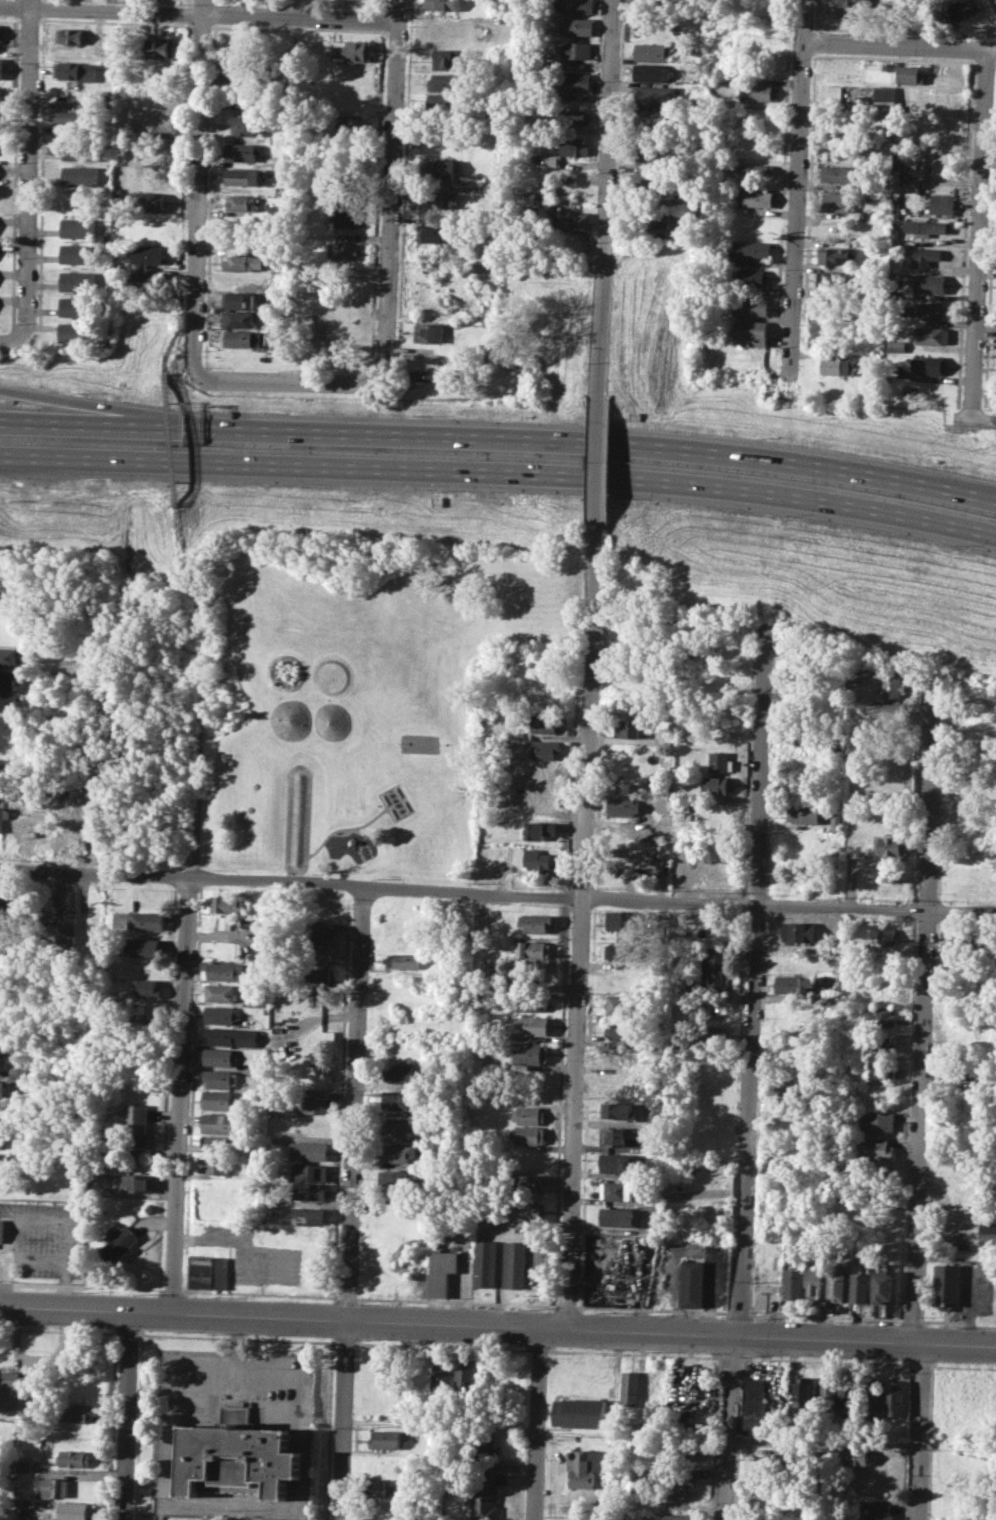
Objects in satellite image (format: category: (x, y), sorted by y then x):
building: (854, 3)
building: (441, 4)
building: (580, 6)
building: (964, 9)
road: (198, 13)
building: (577, 27)
building: (0, 29)
building: (72, 35)
road: (896, 46)
building: (160, 47)
building: (353, 50)
building: (578, 50)
road: (992, 50)
building: (651, 52)
building: (450, 58)
building: (2, 67)
building: (78, 70)
building: (652, 73)
building: (911, 74)
building: (446, 81)
building: (575, 81)
building: (764, 92)
building: (655, 96)
building: (944, 100)
building: (445, 103)
building: (885, 108)
building: (69, 115)
building: (573, 117)
building: (653, 119)
building: (161, 120)
building: (248, 125)
building: (353, 127)
building: (939, 127)
building: (279, 138)
building: (572, 146)
building: (81, 151)
building: (243, 151)
building: (653, 154)
building: (551, 160)
building: (441, 168)
road: (28, 169)
building: (755, 169)
building: (838, 173)
building: (80, 174)
building: (243, 176)
building: (650, 181)
building: (491, 185)
road: (198, 188)
road: (798, 193)
road: (390, 194)
building: (756, 196)
building: (150, 199)
building: (439, 199)
road: (607, 199)
building: (836, 201)
building: (243, 203)
building: (942, 203)
building: (895, 207)
road: (182, 217)
building: (347, 217)
building: (651, 218)
building: (571, 221)
building: (78, 227)
building: (931, 227)
building: (147, 229)
building: (438, 232)
road: (979, 235)
building: (342, 251)
building: (748, 252)
building: (78, 253)
building: (147, 255)
building: (836, 255)
building: (927, 255)
building: (244, 262)
road: (182, 270)
building: (753, 277)
building: (831, 278)
building: (145, 279)
building: (78, 280)
building: (929, 283)
building: (238, 299)
building: (78, 306)
building: (752, 306)
building: (920, 309)
building: (238, 319)
building: (78, 330)
building: (428, 333)
building: (753, 333)
building: (932, 335)
building: (240, 338)
road: (10, 339)
building: (896, 345)
road: (169, 346)
building: (834, 365)
building: (930, 365)
building: (893, 369)
building: (425, 375)
road: (285, 381)
road: (63, 403)
road: (500, 438)
road: (172, 443)
road: (598, 467)
road: (499, 473)
building: (9, 633)
road: (195, 644)
building: (9, 657)
building: (8, 680)
building: (895, 687)
building: (548, 698)
park: (362, 700)
building: (8, 702)
building: (888, 713)
building: (974, 716)
building: (546, 723)
building: (8, 724)
building: (633, 727)
building: (803, 734)
park: (419, 743)
building: (545, 749)
building: (722, 761)
building: (9, 771)
building: (720, 784)
building: (7, 805)
building: (624, 807)
building: (807, 813)
building: (968, 827)
building: (539, 830)
building: (890, 846)
building: (970, 847)
building: (536, 859)
road: (497, 893)
building: (8, 896)
building: (226, 904)
building: (480, 918)
building: (5, 919)
building: (145, 920)
building: (623, 920)
building: (225, 922)
building: (533, 922)
building: (248, 923)
building: (66, 925)
building: (90, 925)
building: (320, 929)
road: (582, 932)
building: (799, 932)
building: (882, 935)
building: (404, 942)
building: (6, 945)
building: (142, 946)
building: (534, 949)
building: (321, 951)
building: (622, 951)
building: (260, 954)
building: (403, 960)
building: (711, 969)
building: (225, 970)
building: (316, 976)
building: (796, 984)
building: (141, 986)
building: (880, 987)
building: (221, 992)
building: (3, 994)
building: (530, 1002)
building: (622, 1003)
road: (752, 1006)
building: (794, 1012)
building: (222, 1014)
building: (880, 1016)
road: (923, 1017)
building: (534, 1025)
building: (625, 1031)
building: (714, 1033)
building: (233, 1035)
building: (1, 1040)
building: (878, 1042)
road: (185, 1043)
building: (529, 1052)
building: (625, 1055)
building: (219, 1057)
building: (0, 1062)
building: (878, 1070)
building: (954, 1070)
building: (18, 1073)
building: (404, 1074)
building: (221, 1078)
building: (2, 1087)
building: (218, 1099)
building: (399, 1099)
building: (313, 1105)
building: (618, 1109)
building: (2, 1111)
building: (529, 1114)
building: (878, 1121)
building: (220, 1123)
building: (399, 1126)
building: (138, 1128)
building: (528, 1135)
building: (615, 1137)
building: (2, 1139)
building: (220, 1144)
building: (875, 1149)
building: (309, 1151)
building: (397, 1152)
building: (3, 1161)
building: (616, 1163)
building: (218, 1164)
building: (309, 1172)
building: (394, 1179)
building: (525, 1182)
building: (140, 1183)
building: (617, 1190)
building: (309, 1192)
road: (350, 1202)
building: (524, 1211)
building: (308, 1215)
building: (618, 1217)
road: (40, 1219)
building: (2, 1229)
building: (988, 1234)
parking lot: (44, 1238)
road: (246, 1242)
building: (121, 1244)
building: (857, 1254)
parking lot: (255, 1255)
road: (38, 1258)
building: (485, 1263)
road: (250, 1264)
building: (514, 1265)
building: (439, 1271)
building: (207, 1272)
road: (970, 1277)
building: (814, 1280)
building: (837, 1282)
building: (691, 1283)
building: (793, 1284)
building: (948, 1284)
building: (882, 1286)
building: (860, 1287)
building: (765, 1298)
road: (497, 1326)
road: (41, 1359)
building: (465, 1372)
building: (441, 1375)
building: (632, 1387)
building: (972, 1389)
building: (17, 1390)
building: (804, 1392)
building: (828, 1394)
building: (849, 1395)
building: (894, 1397)
building: (871, 1399)
building: (755, 1406)
building: (76, 1413)
building: (580, 1413)
road: (128, 1415)
road: (539, 1424)
road: (729, 1429)
road: (919, 1432)
building: (385, 1439)
road: (824, 1442)
building: (484, 1443)
building: (235, 1454)
building: (681, 1454)
building: (851, 1455)
building: (74, 1459)
building: (776, 1462)
building: (961, 1463)
building: (25, 1466)
building: (585, 1466)
road: (561, 1472)
building: (680, 1477)
building: (53, 1487)
building: (951, 1488)
building: (378, 1489)
building: (485, 1492)
building: (680, 1499)
building: (764, 1503)
building: (641, 1505)
building: (387, 1509)
building: (73, 1510)
building: (879, 1511)
building: (950, 1511)
building: (680, 1516)
building: (763, 1518)

